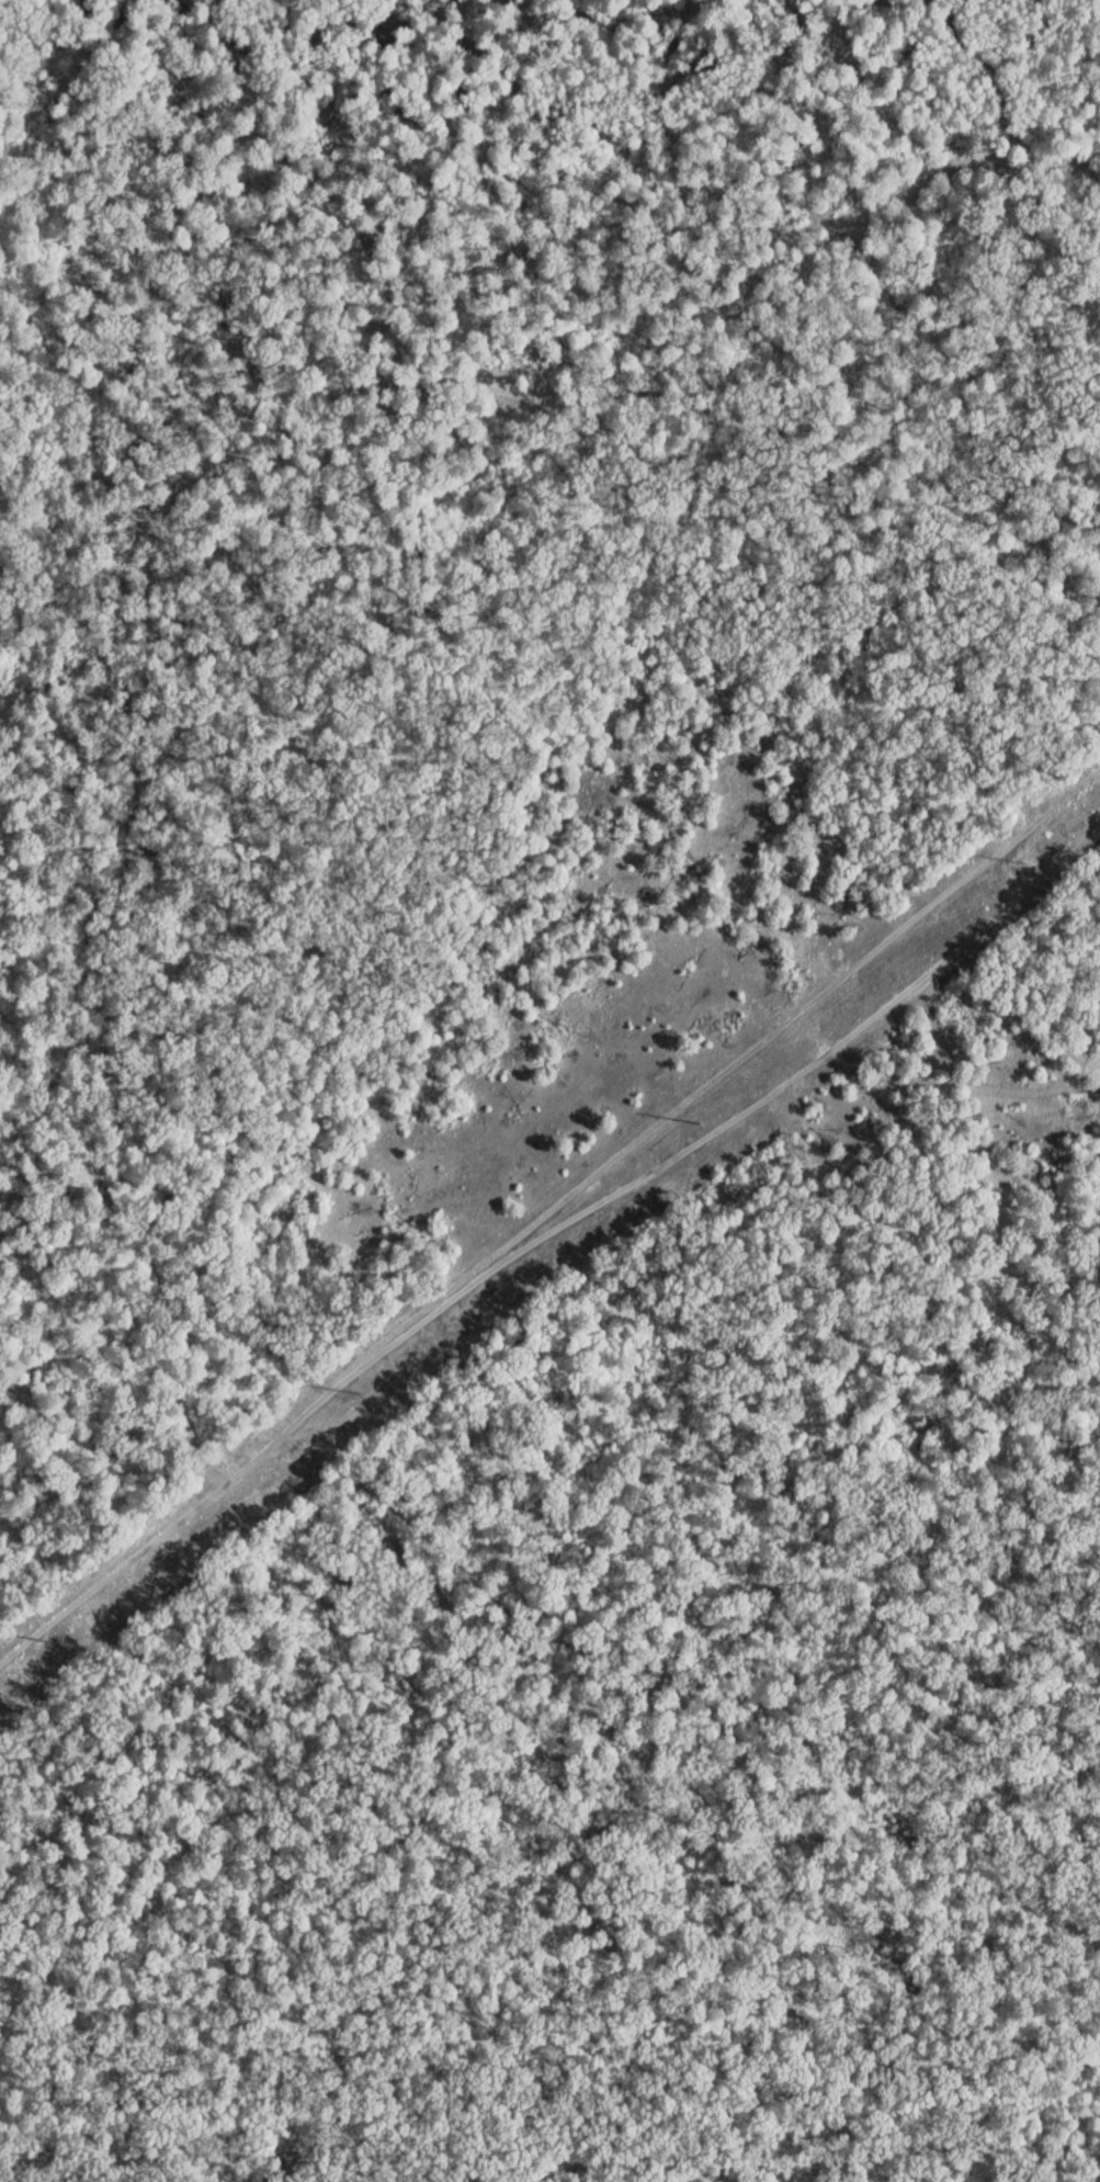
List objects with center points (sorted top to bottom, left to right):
road: (631, 2162)
road: (1099, 2181)

